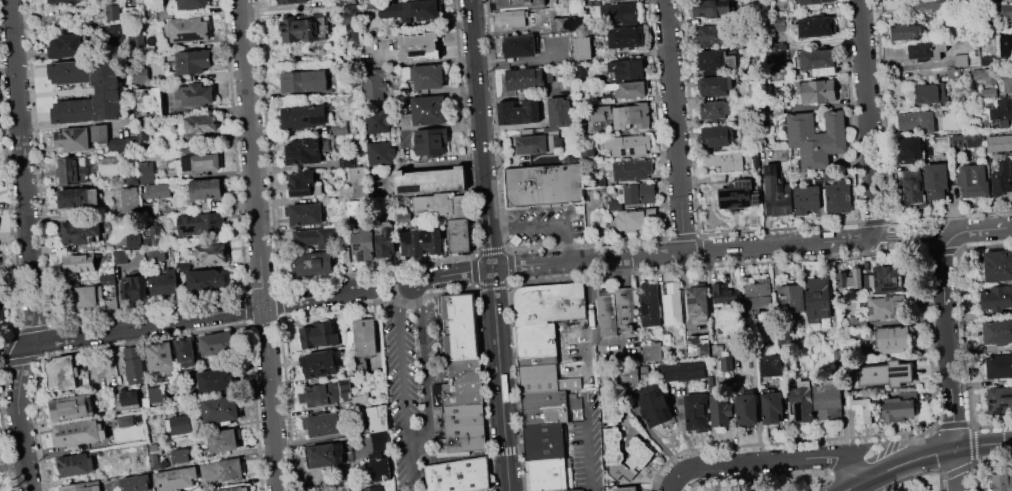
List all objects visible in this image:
building: (61, 1)
building: (290, 1)
building: (588, 2)
building: (518, 3)
building: (812, 3)
building: (192, 4)
building: (931, 5)
building: (410, 9)
building: (621, 11)
building: (113, 12)
building: (588, 12)
building: (712, 12)
building: (1002, 12)
building: (513, 19)
building: (556, 21)
building: (578, 22)
building: (777, 23)
building: (350, 24)
building: (965, 26)
building: (814, 27)
building: (304, 28)
building: (187, 30)
building: (906, 32)
building: (117, 33)
building: (711, 34)
building: (626, 37)
building: (140, 40)
building: (66, 45)
building: (520, 45)
building: (1003, 45)
building: (419, 47)
building: (582, 48)
building: (926, 50)
building: (779, 54)
building: (961, 60)
building: (986, 60)
building: (193, 61)
building: (715, 61)
building: (819, 61)
building: (628, 69)
building: (580, 71)
building: (953, 72)
building: (144, 74)
building: (548, 75)
building: (984, 75)
building: (426, 76)
building: (524, 78)
building: (304, 81)
building: (1007, 82)
building: (376, 84)
building: (715, 86)
building: (108, 89)
building: (631, 90)
building: (816, 91)
building: (930, 93)
building: (989, 93)
building: (195, 94)
building: (148, 102)
building: (428, 110)
building: (714, 110)
building: (518, 112)
building: (1002, 112)
building: (558, 114)
building: (623, 114)
building: (304, 116)
road: (868, 119)
building: (377, 121)
building: (917, 121)
building: (201, 126)
road: (674, 126)
building: (338, 128)
building: (143, 133)
building: (717, 136)
building: (108, 138)
building: (816, 138)
building: (72, 139)
building: (431, 142)
building: (533, 142)
building: (948, 142)
building: (973, 142)
building: (999, 142)
building: (628, 145)
building: (909, 149)
building: (307, 151)
building: (587, 151)
road: (251, 152)
building: (381, 153)
building: (753, 158)
building: (198, 161)
building: (347, 161)
building: (729, 161)
building: (632, 169)
building: (71, 170)
building: (147, 172)
building: (829, 175)
building: (132, 178)
building: (1002, 178)
building: (359, 180)
building: (935, 180)
building: (430, 181)
building: (973, 181)
building: (599, 182)
building: (304, 184)
building: (544, 186)
building: (743, 187)
building: (207, 188)
building: (913, 189)
building: (157, 191)
building: (777, 192)
building: (639, 193)
building: (838, 197)
building: (78, 198)
building: (130, 199)
building: (756, 199)
building: (806, 199)
building: (439, 204)
building: (614, 205)
road: (540, 206)
building: (355, 207)
building: (304, 214)
building: (404, 217)
road: (921, 218)
building: (632, 221)
building: (201, 224)
road: (546, 224)
road: (981, 229)
building: (79, 232)
building: (156, 235)
building: (458, 235)
road: (910, 236)
building: (316, 238)
building: (514, 239)
building: (134, 241)
building: (386, 242)
building: (421, 242)
building: (363, 243)
road: (488, 245)
road: (28, 246)
road: (899, 252)
building: (211, 253)
building: (346, 254)
building: (120, 256)
road: (639, 256)
building: (313, 262)
building: (998, 265)
building: (79, 266)
building: (182, 272)
building: (851, 278)
building: (884, 278)
building: (107, 279)
building: (208, 281)
building: (164, 283)
road: (390, 285)
building: (134, 286)
building: (722, 292)
building: (758, 294)
building: (89, 295)
building: (792, 298)
building: (997, 298)
building: (817, 299)
building: (697, 300)
building: (112, 302)
building: (548, 302)
building: (649, 304)
building: (673, 304)
building: (883, 307)
building: (615, 311)
road: (184, 317)
building: (459, 326)
building: (997, 331)
building: (319, 335)
building: (365, 337)
building: (535, 339)
building: (666, 339)
building: (892, 339)
building: (216, 344)
building: (698, 345)
building: (652, 351)
building: (186, 352)
building: (835, 355)
building: (160, 357)
building: (536, 359)
road: (948, 362)
building: (320, 363)
building: (133, 365)
building: (771, 366)
building: (999, 366)
building: (464, 370)
building: (682, 370)
building: (61, 373)
building: (885, 373)
building: (103, 374)
building: (636, 374)
building: (179, 376)
building: (627, 376)
building: (543, 378)
building: (216, 380)
parking lot: (409, 385)
building: (326, 393)
building: (462, 393)
building: (155, 395)
road: (269, 397)
building: (361, 399)
building: (828, 399)
building: (999, 400)
building: (802, 401)
building: (129, 402)
building: (608, 405)
building: (653, 405)
building: (547, 406)
building: (69, 407)
building: (772, 407)
building: (860, 409)
building: (897, 409)
building: (221, 410)
building: (720, 410)
building: (746, 410)
building: (696, 412)
building: (461, 414)
building: (379, 418)
building: (124, 420)
building: (323, 424)
building: (179, 425)
building: (78, 433)
building: (222, 439)
road: (417, 439)
building: (462, 439)
building: (543, 441)
building: (152, 446)
road: (937, 452)
road: (587, 453)
building: (642, 453)
building: (329, 454)
road: (459, 455)
building: (180, 456)
building: (154, 460)
road: (414, 461)
road: (767, 461)
building: (75, 464)
building: (380, 467)
building: (224, 469)
building: (455, 474)
building: (548, 474)
building: (176, 478)
park: (793, 479)
building: (1000, 481)
building: (135, 483)
park: (917, 484)
road: (856, 485)
building: (81, 486)
building: (371, 488)
building: (626, 488)
building: (236, 489)
road: (596, 489)
building: (485, 490)
building: (569, 490)

